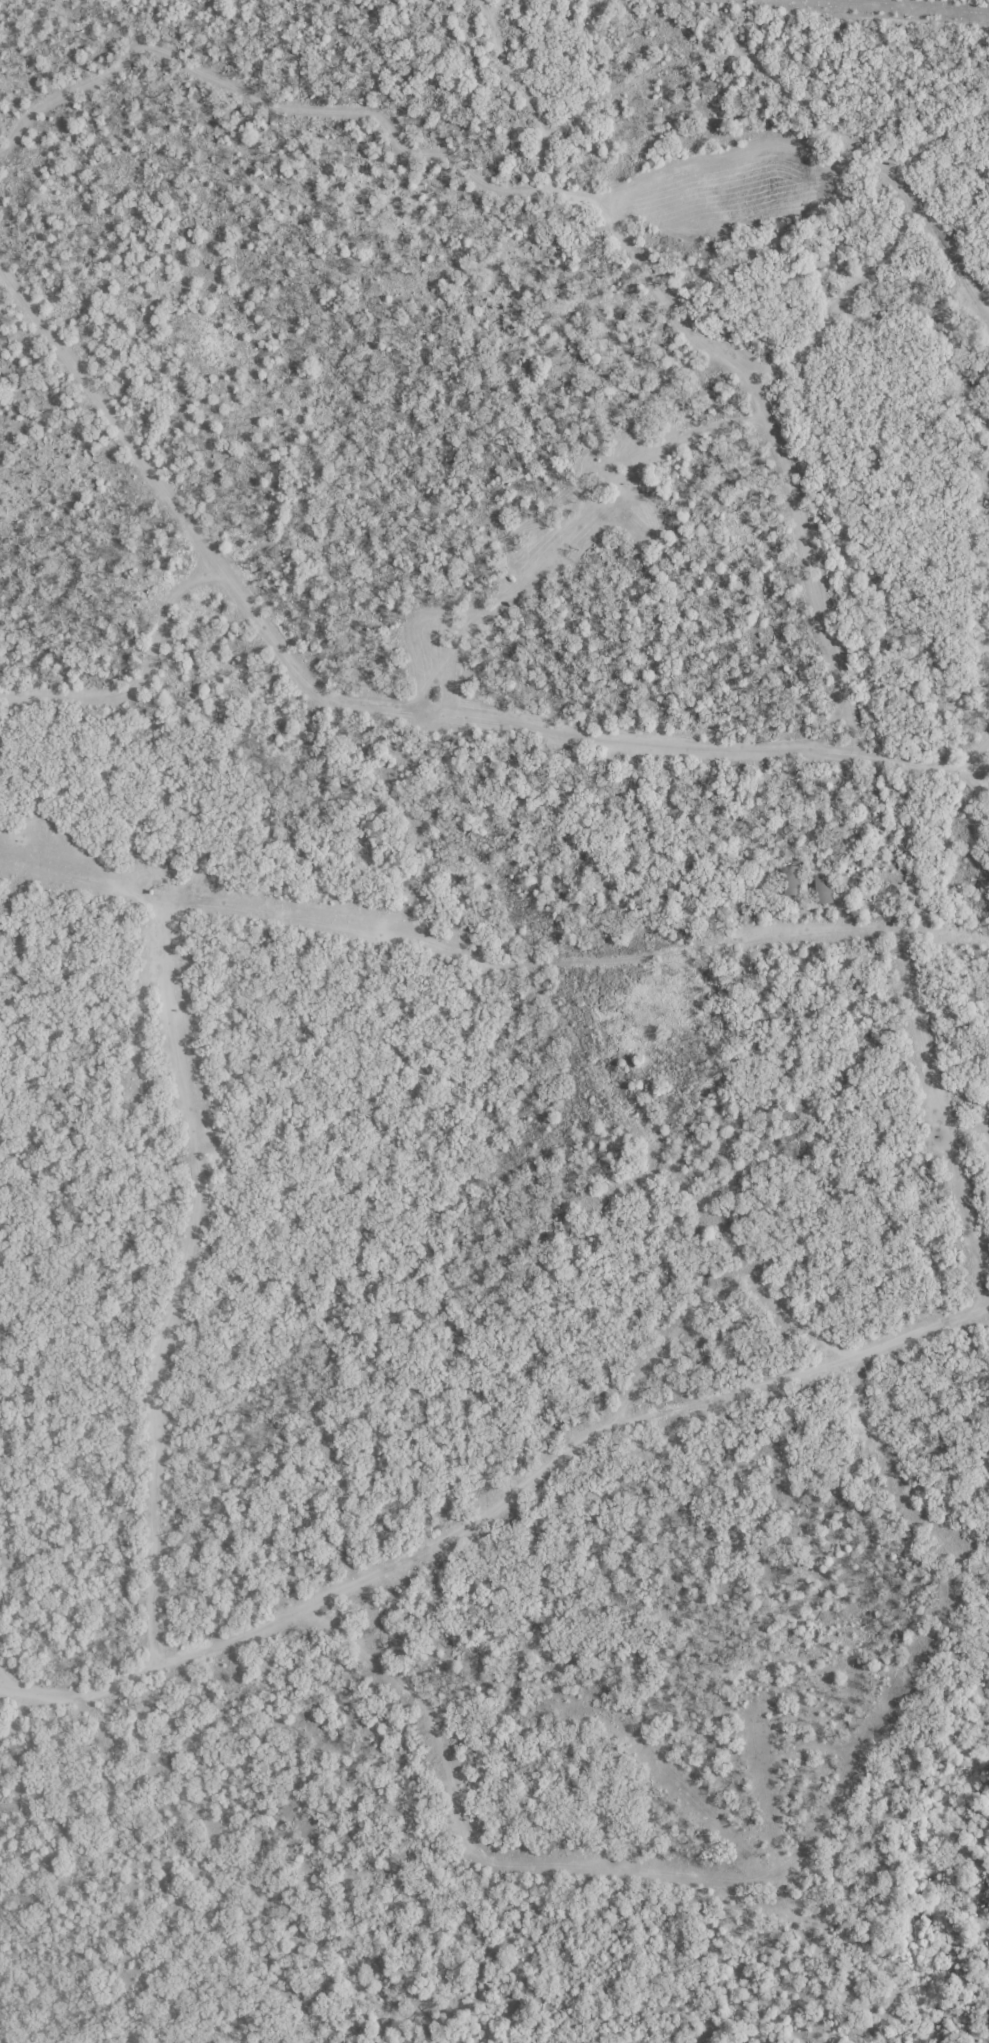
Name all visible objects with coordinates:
building: (788, 880)
building: (820, 887)

